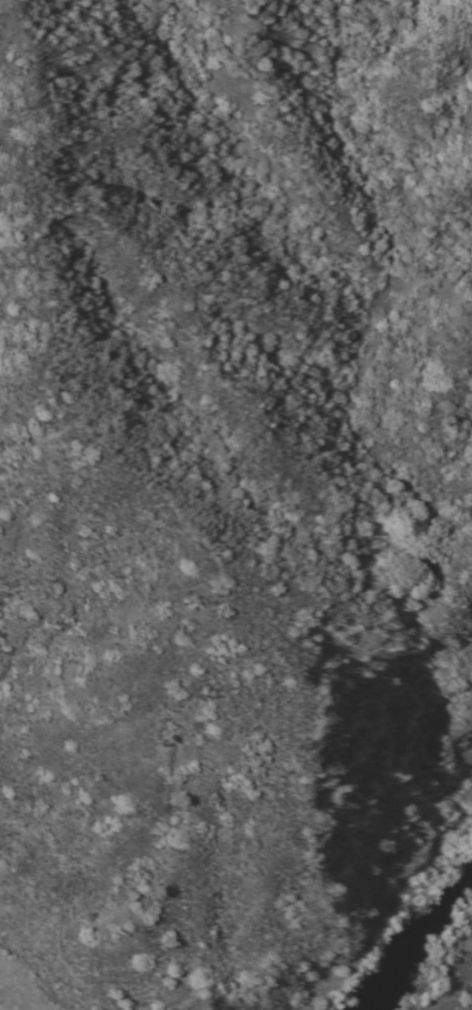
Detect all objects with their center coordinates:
river: (421, 947)

